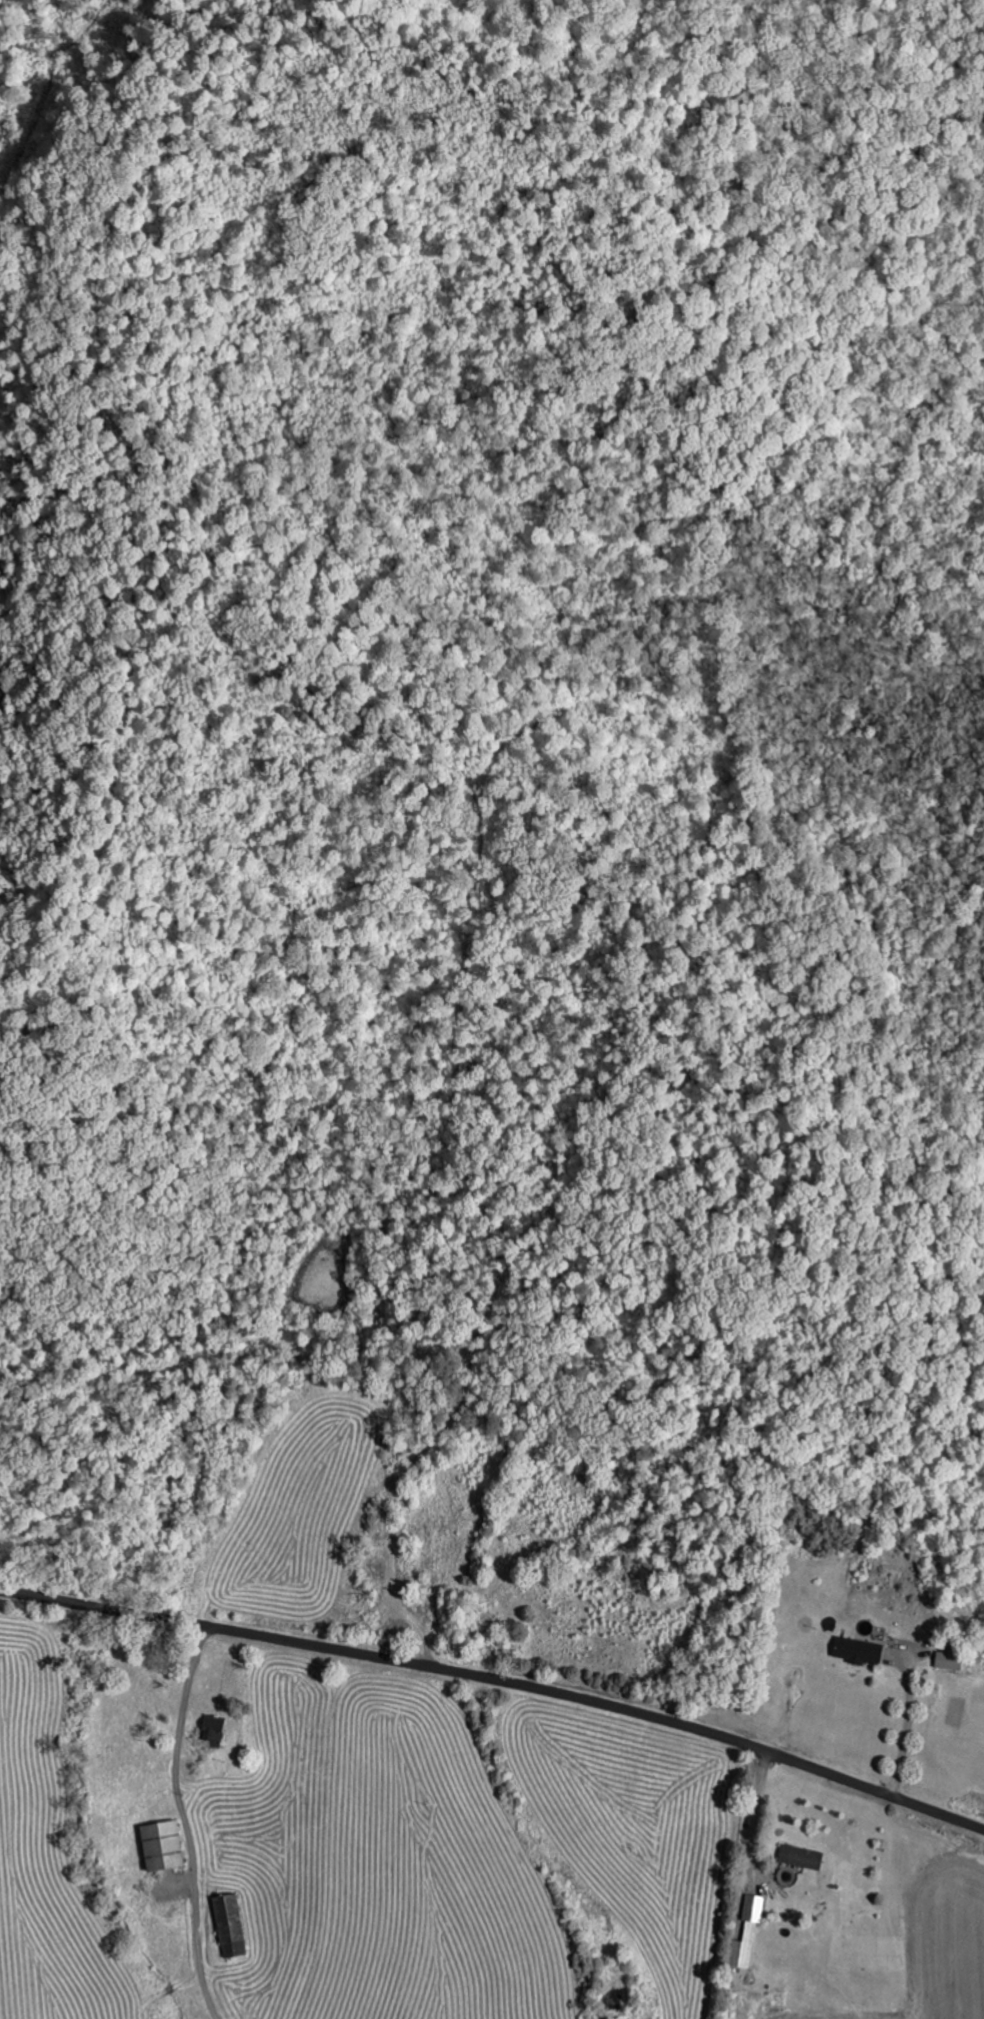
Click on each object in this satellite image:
building: (863, 1649)
building: (950, 1659)
road: (499, 1679)
building: (216, 1731)
building: (167, 1844)
building: (806, 1856)
building: (233, 1924)
building: (751, 1931)

